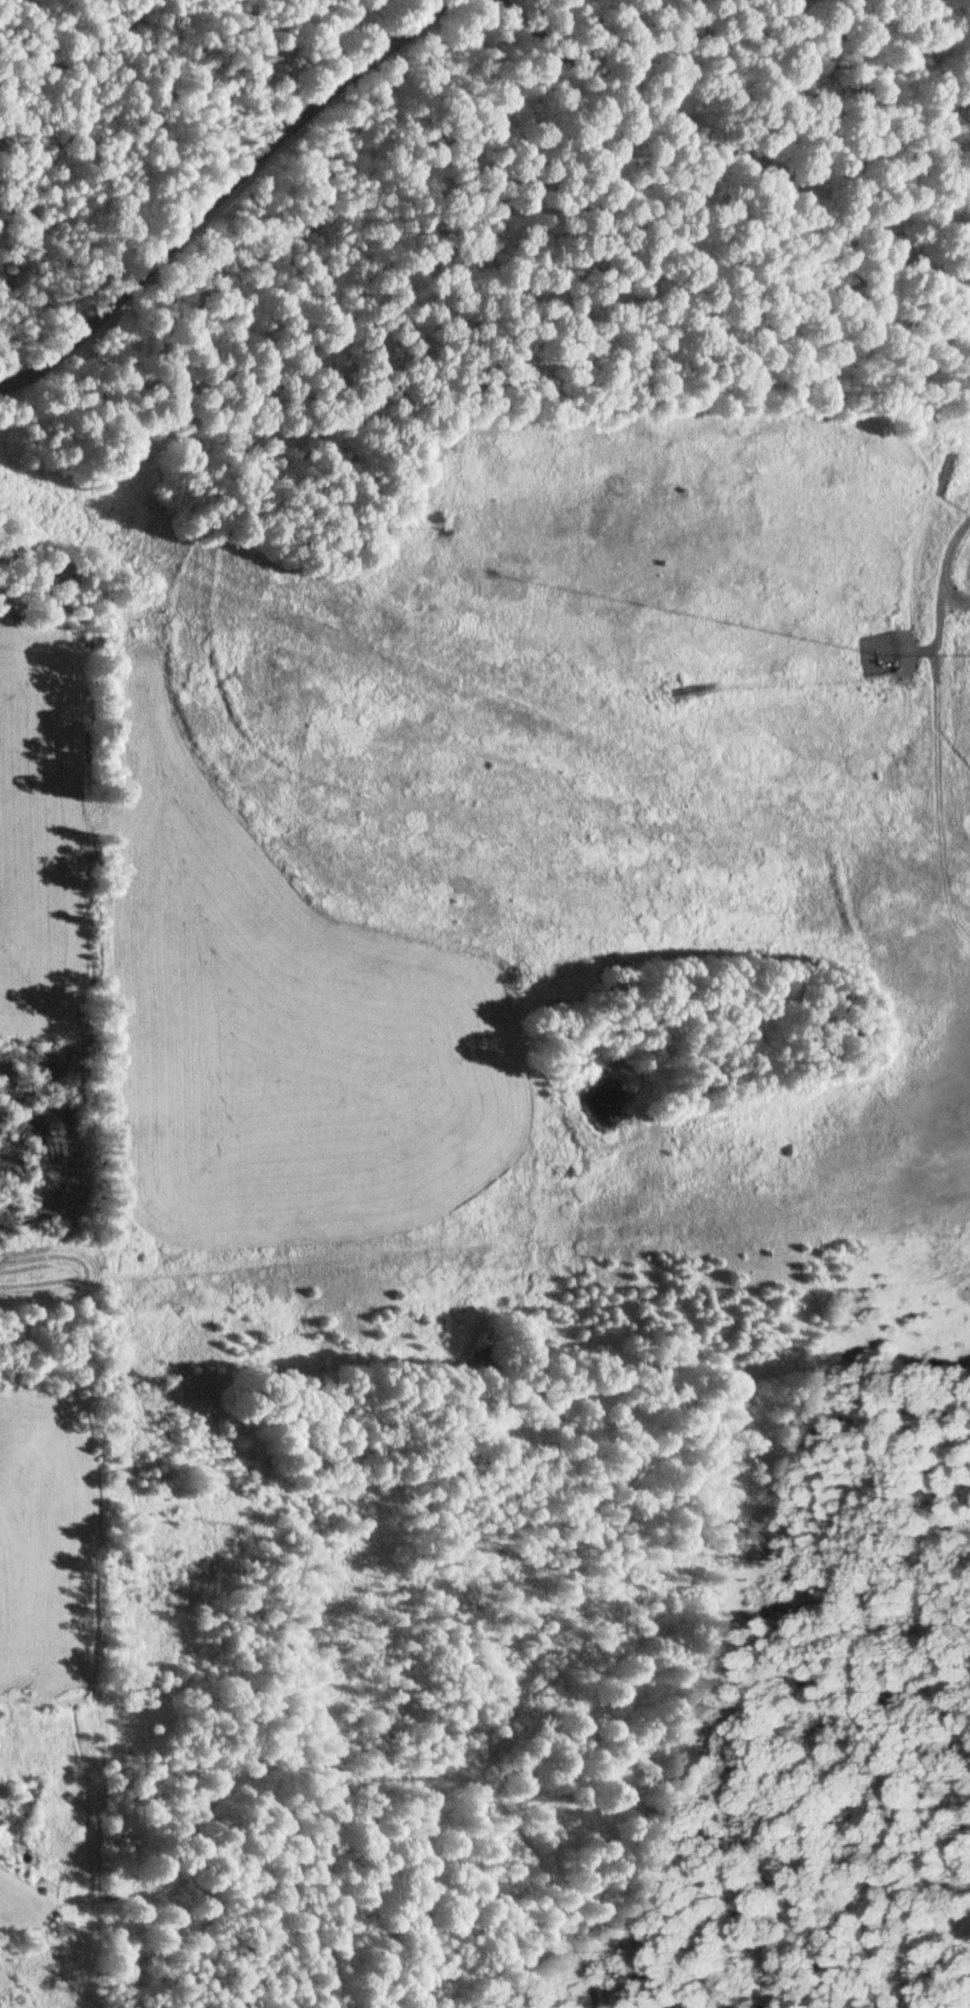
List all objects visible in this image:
road: (730, 171)
road: (239, 199)

